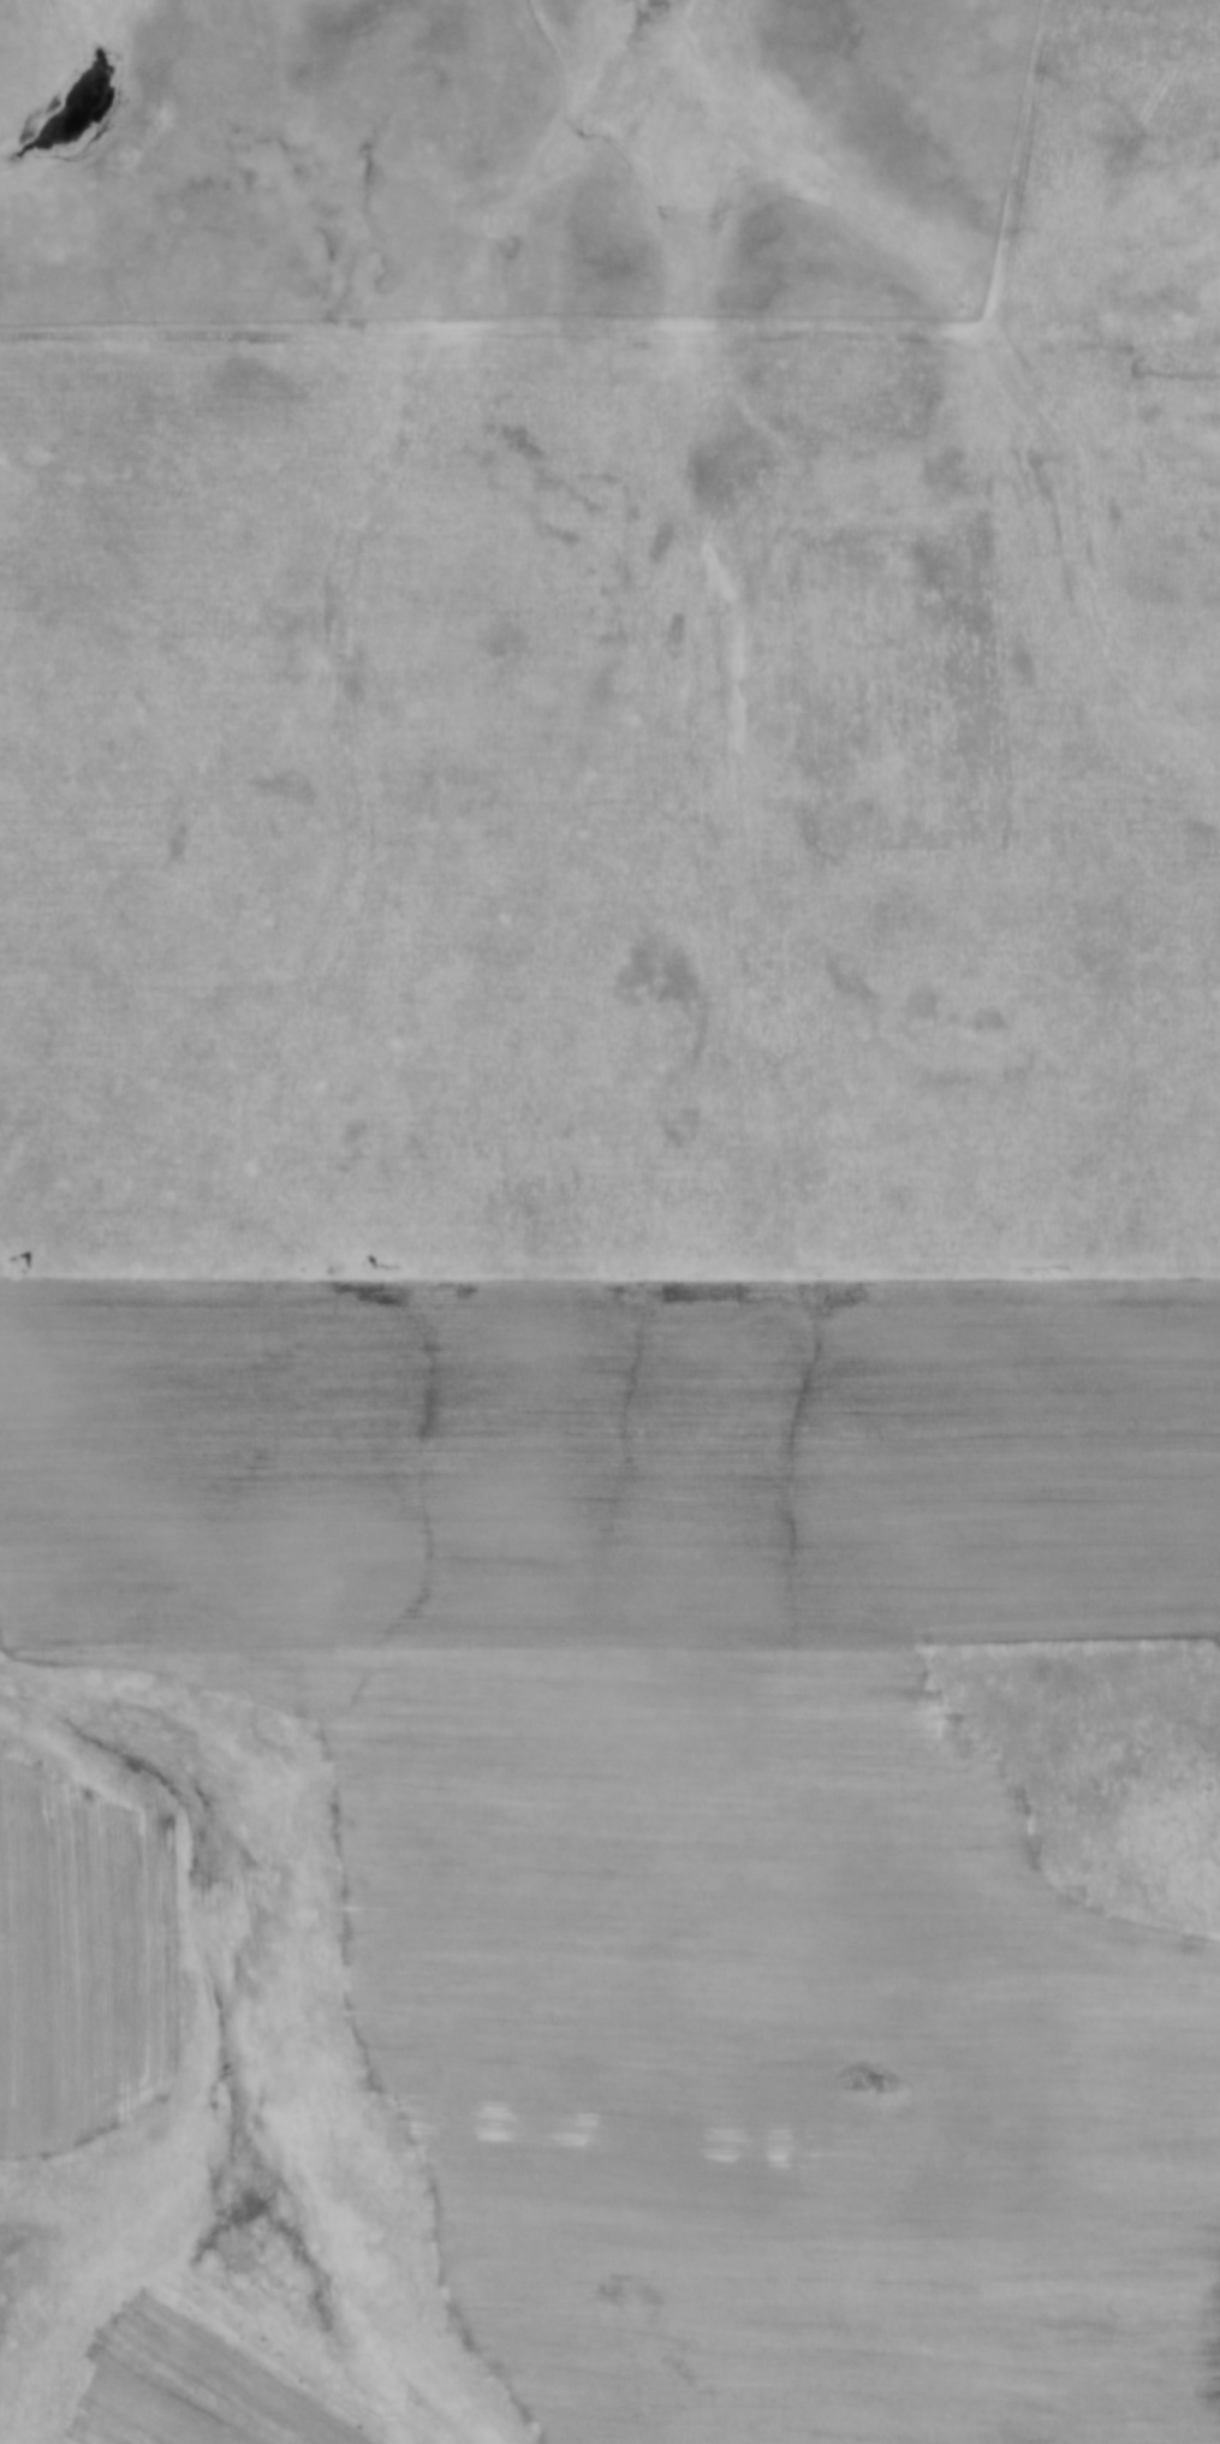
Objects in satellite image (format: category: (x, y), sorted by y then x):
road: (665, 337)

